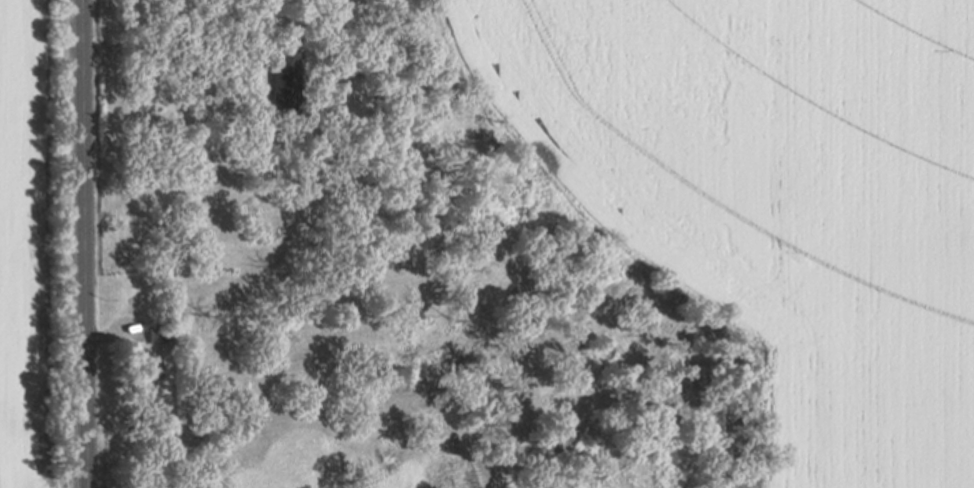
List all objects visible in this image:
road: (154, 50)
building: (282, 81)
road: (80, 244)
building: (158, 333)
building: (157, 339)
building: (146, 375)

